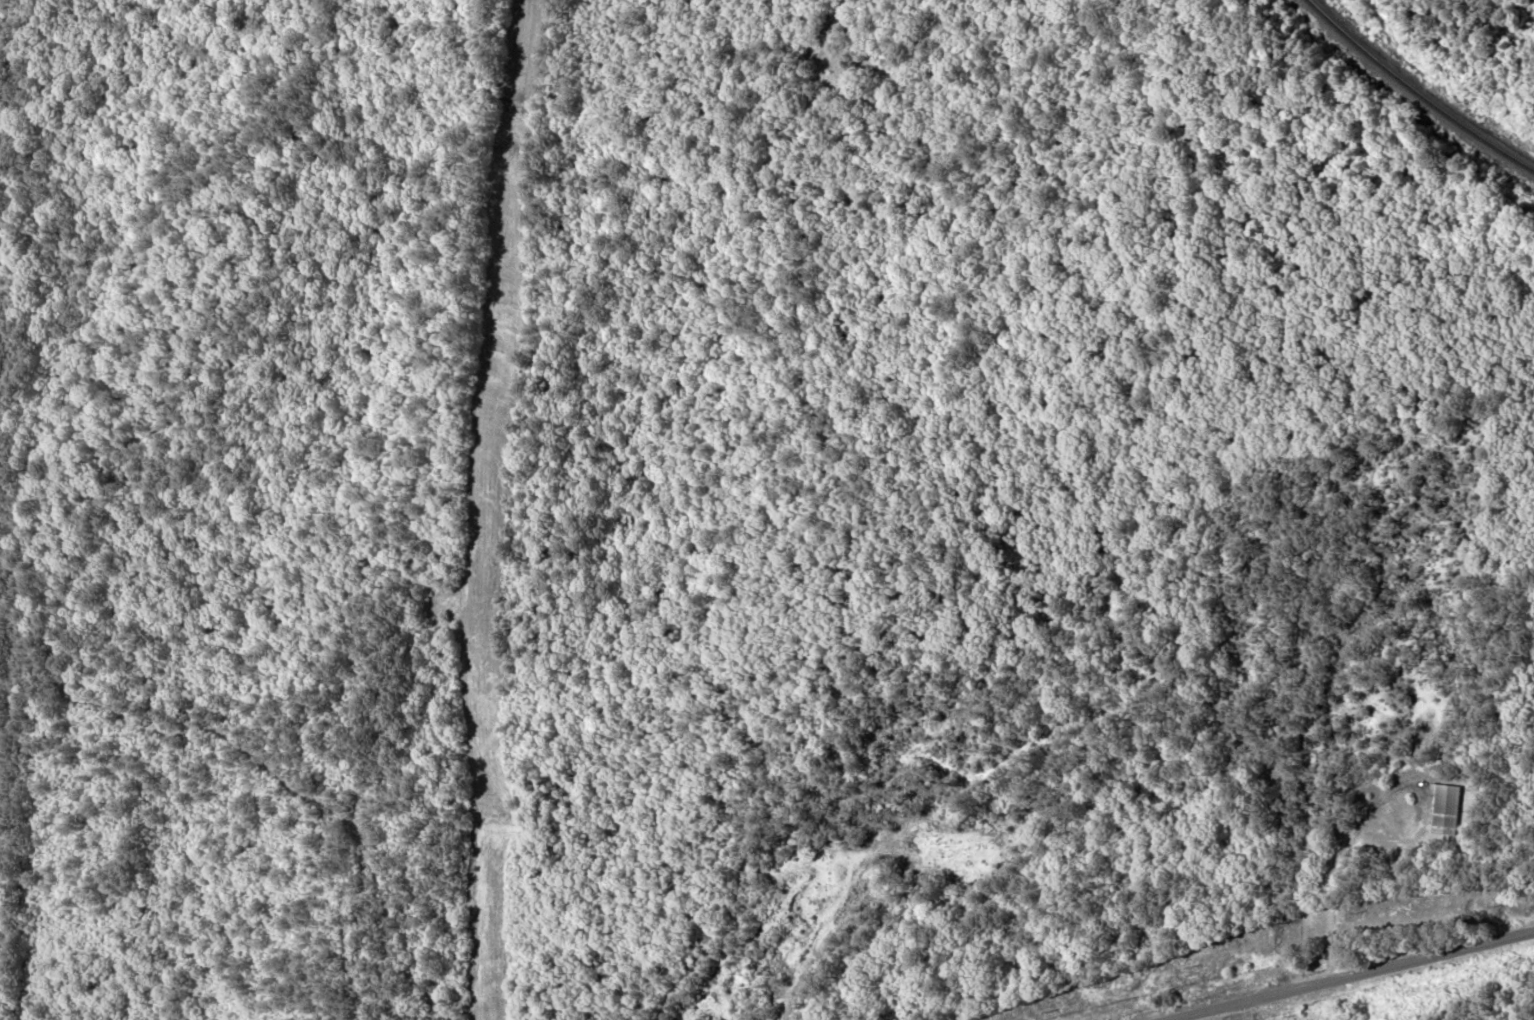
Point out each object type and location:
railway: (1418, 90)
building: (1447, 808)
road: (1350, 977)

